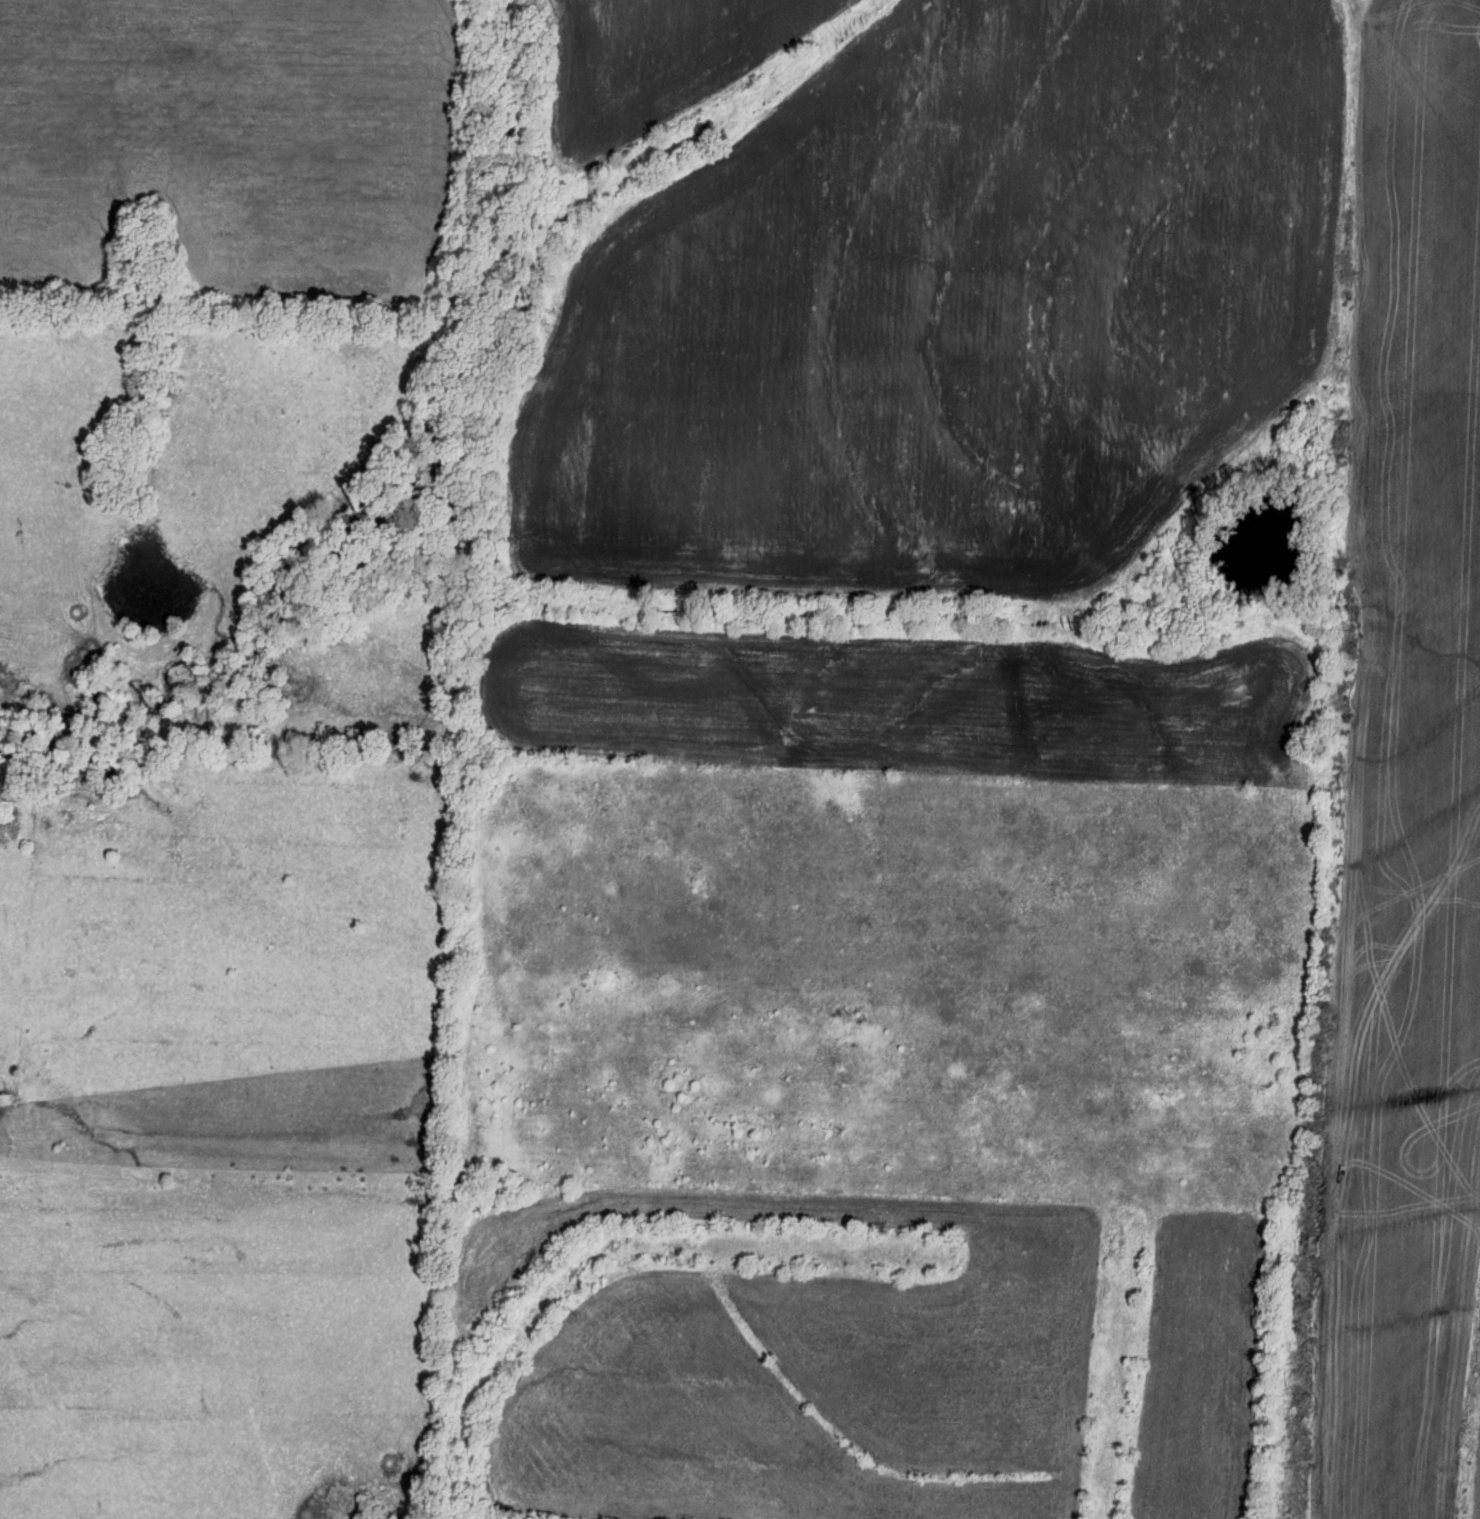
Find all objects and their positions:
road: (1333, 203)
building: (1106, 980)

